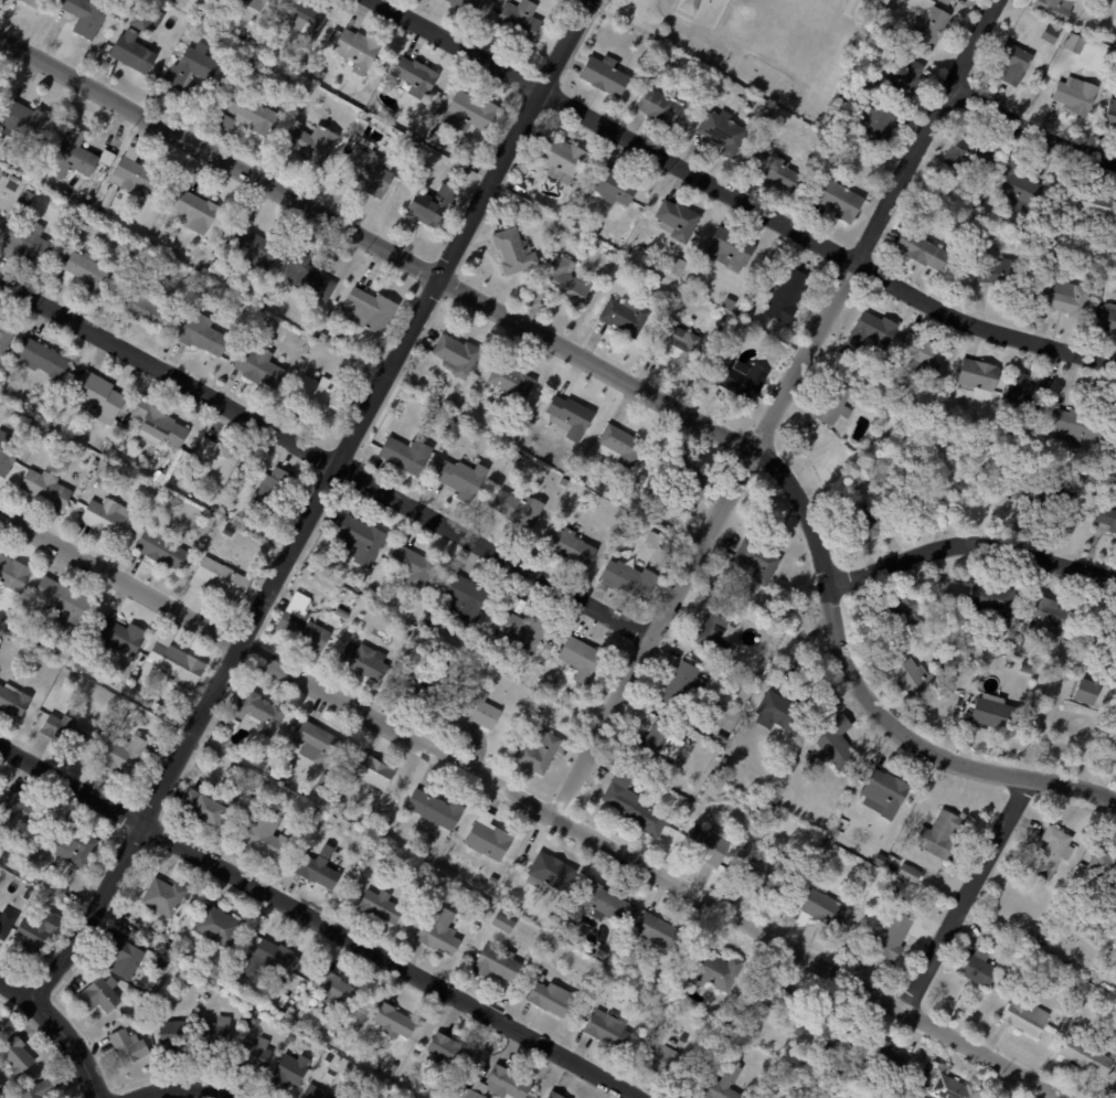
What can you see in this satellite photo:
building: (947, 1)
building: (31, 2)
building: (254, 3)
building: (467, 6)
building: (852, 7)
building: (1054, 8)
building: (205, 13)
building: (84, 15)
building: (147, 17)
building: (304, 17)
building: (518, 20)
building: (217, 23)
building: (929, 25)
building: (885, 32)
building: (1051, 33)
building: (242, 34)
building: (247, 38)
building: (1075, 42)
building: (255, 43)
building: (357, 49)
building: (131, 51)
building: (1016, 63)
building: (191, 67)
building: (246, 67)
building: (272, 74)
building: (604, 74)
building: (414, 77)
building: (897, 79)
building: (265, 89)
building: (285, 89)
building: (439, 95)
building: (1075, 95)
building: (847, 96)
building: (659, 106)
building: (469, 110)
building: (253, 111)
building: (1112, 111)
building: (22, 120)
building: (226, 121)
building: (0, 124)
building: (875, 125)
building: (722, 130)
road: (1030, 130)
building: (0, 138)
building: (310, 141)
building: (433, 141)
building: (55, 142)
building: (412, 147)
building: (419, 152)
building: (970, 153)
building: (72, 157)
building: (106, 157)
building: (560, 158)
building: (366, 169)
building: (774, 170)
building: (425, 175)
building: (34, 177)
building: (129, 178)
building: (613, 186)
building: (1014, 186)
building: (523, 194)
road: (741, 195)
building: (24, 198)
building: (841, 201)
building: (1093, 203)
building: (431, 205)
building: (138, 206)
building: (194, 211)
building: (677, 220)
building: (84, 226)
building: (554, 226)
building: (26, 242)
building: (620, 243)
building: (253, 245)
building: (730, 248)
building: (921, 249)
building: (512, 252)
building: (678, 266)
building: (999, 271)
building: (85, 273)
building: (216, 273)
building: (308, 278)
building: (564, 280)
building: (534, 291)
building: (785, 294)
building: (1067, 298)
building: (263, 306)
building: (726, 306)
building: (142, 307)
building: (748, 307)
building: (368, 309)
building: (625, 315)
building: (722, 316)
building: (1105, 318)
building: (326, 329)
building: (872, 331)
building: (201, 333)
building: (6, 334)
building: (322, 337)
building: (677, 341)
building: (923, 352)
building: (456, 353)
building: (40, 358)
building: (901, 359)
building: (258, 366)
building: (978, 374)
building: (513, 377)
road: (620, 379)
building: (744, 381)
building: (95, 395)
building: (319, 397)
building: (1023, 398)
building: (832, 405)
road: (777, 406)
building: (570, 414)
building: (492, 420)
building: (52, 423)
building: (157, 424)
building: (1076, 425)
building: (464, 429)
building: (46, 430)
building: (514, 441)
building: (619, 444)
building: (903, 450)
building: (6, 452)
building: (405, 452)
building: (215, 457)
road: (325, 457)
building: (516, 459)
building: (105, 471)
building: (461, 477)
building: (639, 478)
building: (159, 479)
building: (690, 480)
building: (564, 482)
building: (44, 489)
building: (636, 490)
building: (272, 491)
building: (1046, 492)
road: (313, 497)
building: (163, 504)
building: (518, 505)
building: (213, 511)
building: (107, 518)
building: (1108, 518)
building: (237, 520)
building: (868, 524)
building: (360, 535)
road: (970, 543)
building: (568, 544)
building: (161, 550)
building: (756, 559)
building: (412, 564)
building: (13, 574)
building: (630, 577)
building: (222, 579)
building: (358, 585)
building: (372, 590)
building: (465, 596)
building: (60, 601)
building: (992, 604)
building: (342, 612)
building: (900, 612)
building: (1046, 617)
building: (302, 622)
building: (435, 628)
building: (523, 628)
building: (714, 628)
building: (405, 637)
building: (121, 638)
building: (1115, 647)
building: (548, 649)
building: (1016, 649)
building: (580, 657)
building: (363, 659)
building: (174, 661)
building: (1029, 667)
building: (916, 679)
building: (679, 683)
building: (407, 689)
building: (1087, 692)
building: (428, 695)
building: (138, 696)
building: (567, 697)
building: (46, 700)
building: (12, 701)
building: (160, 710)
building: (259, 711)
building: (475, 711)
building: (784, 711)
building: (992, 712)
building: (232, 725)
building: (224, 728)
building: (62, 731)
building: (721, 736)
building: (836, 740)
building: (317, 743)
building: (660, 743)
building: (1112, 745)
building: (540, 749)
building: (121, 755)
building: (793, 765)
building: (371, 769)
building: (322, 779)
building: (338, 789)
building: (262, 790)
building: (884, 792)
building: (674, 793)
building: (777, 796)
building: (680, 798)
road: (535, 801)
building: (634, 802)
building: (200, 806)
building: (757, 807)
building: (434, 808)
building: (20, 812)
building: (327, 815)
building: (342, 825)
building: (265, 831)
building: (943, 833)
building: (486, 836)
building: (447, 840)
building: (709, 843)
building: (827, 844)
building: (72, 846)
building: (1051, 851)
building: (880, 859)
building: (1103, 864)
building: (318, 867)
building: (550, 871)
building: (908, 873)
building: (764, 876)
building: (460, 892)
building: (28, 894)
road: (965, 894)
building: (897, 895)
building: (162, 896)
building: (600, 899)
building: (51, 904)
building: (380, 905)
building: (826, 908)
road: (319, 921)
building: (503, 921)
building: (6, 924)
building: (216, 924)
building: (656, 931)
building: (438, 932)
building: (36, 934)
building: (893, 936)
building: (149, 937)
building: (991, 939)
building: (157, 941)
building: (269, 957)
building: (125, 958)
building: (496, 962)
building: (978, 967)
building: (713, 969)
road: (18, 981)
building: (606, 981)
building: (616, 982)
building: (331, 985)
building: (599, 991)
building: (774, 991)
building: (99, 993)
building: (551, 998)
building: (281, 999)
building: (121, 1006)
building: (1080, 1006)
building: (1025, 1015)
building: (252, 1020)
building: (392, 1020)
building: (606, 1027)
building: (799, 1028)
building: (171, 1036)
building: (291, 1036)
building: (212, 1038)
building: (836, 1038)
building: (680, 1041)
building: (726, 1041)
road: (73, 1042)
building: (127, 1045)
building: (347, 1045)
building: (448, 1051)
building: (251, 1054)
building: (886, 1055)
building: (14, 1056)
building: (1084, 1056)
building: (658, 1057)
building: (857, 1066)
building: (392, 1069)
building: (932, 1070)
building: (288, 1072)
road: (176, 1084)
building: (1115, 1084)
building: (499, 1085)
building: (722, 1085)
building: (953, 1088)
building: (38, 1089)
building: (315, 1092)
building: (554, 1095)
building: (1115, 1096)
building: (344, 1097)
building: (355, 1097)

